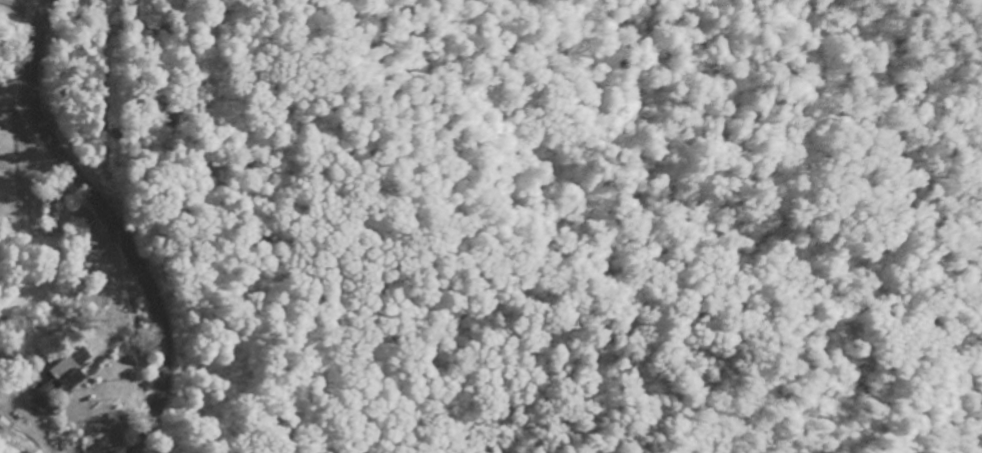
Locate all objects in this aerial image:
road: (15, 97)
road: (110, 221)
building: (66, 368)
building: (39, 403)

